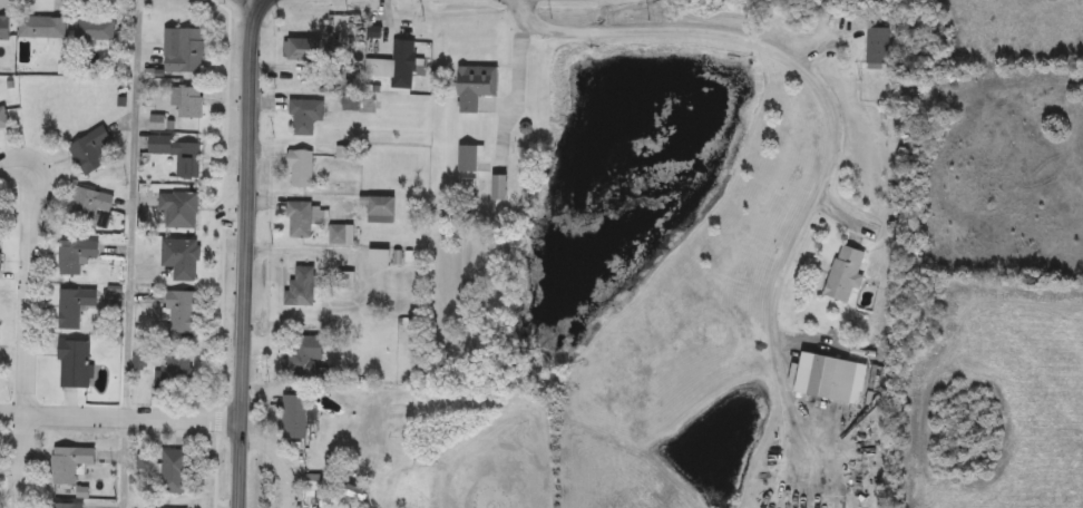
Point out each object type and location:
building: (4, 29)
building: (42, 29)
building: (94, 31)
building: (878, 49)
building: (302, 50)
building: (186, 53)
building: (403, 59)
road: (793, 63)
building: (339, 78)
building: (475, 88)
road: (517, 90)
building: (189, 105)
building: (351, 106)
building: (305, 117)
building: (2, 119)
building: (157, 124)
building: (90, 152)
building: (177, 156)
building: (467, 160)
building: (301, 169)
building: (499, 189)
building: (379, 207)
building: (90, 209)
building: (178, 209)
building: (299, 221)
building: (338, 235)
road: (244, 252)
road: (129, 254)
building: (75, 257)
building: (179, 258)
building: (379, 258)
building: (843, 274)
building: (301, 290)
building: (72, 307)
building: (180, 314)
road: (30, 324)
building: (296, 359)
building: (74, 365)
building: (174, 371)
building: (830, 380)
road: (120, 418)
building: (294, 418)
road: (1060, 419)
building: (69, 463)
road: (1011, 467)
building: (174, 471)
building: (312, 483)
building: (67, 506)

